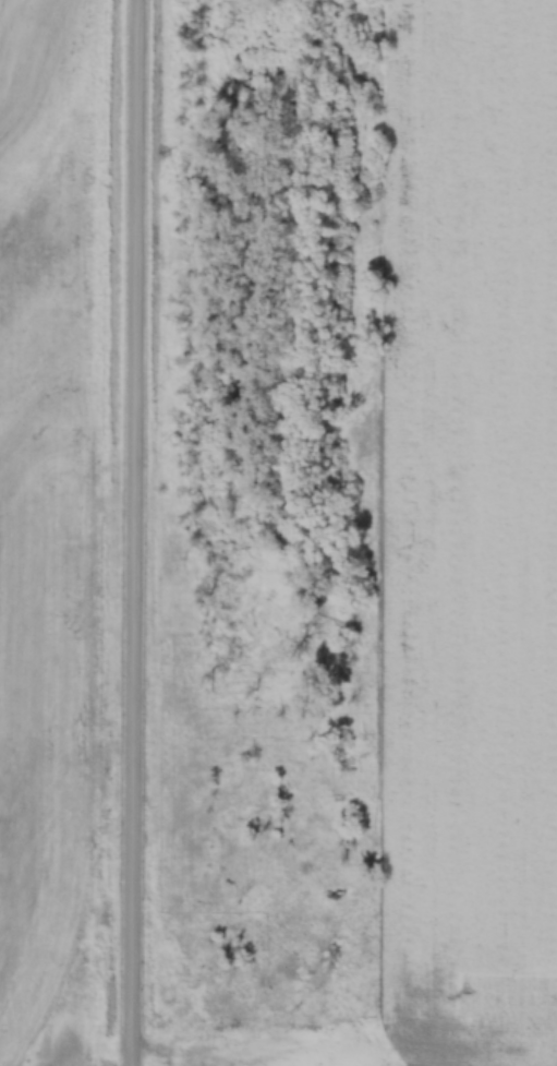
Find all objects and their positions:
road: (125, 532)

